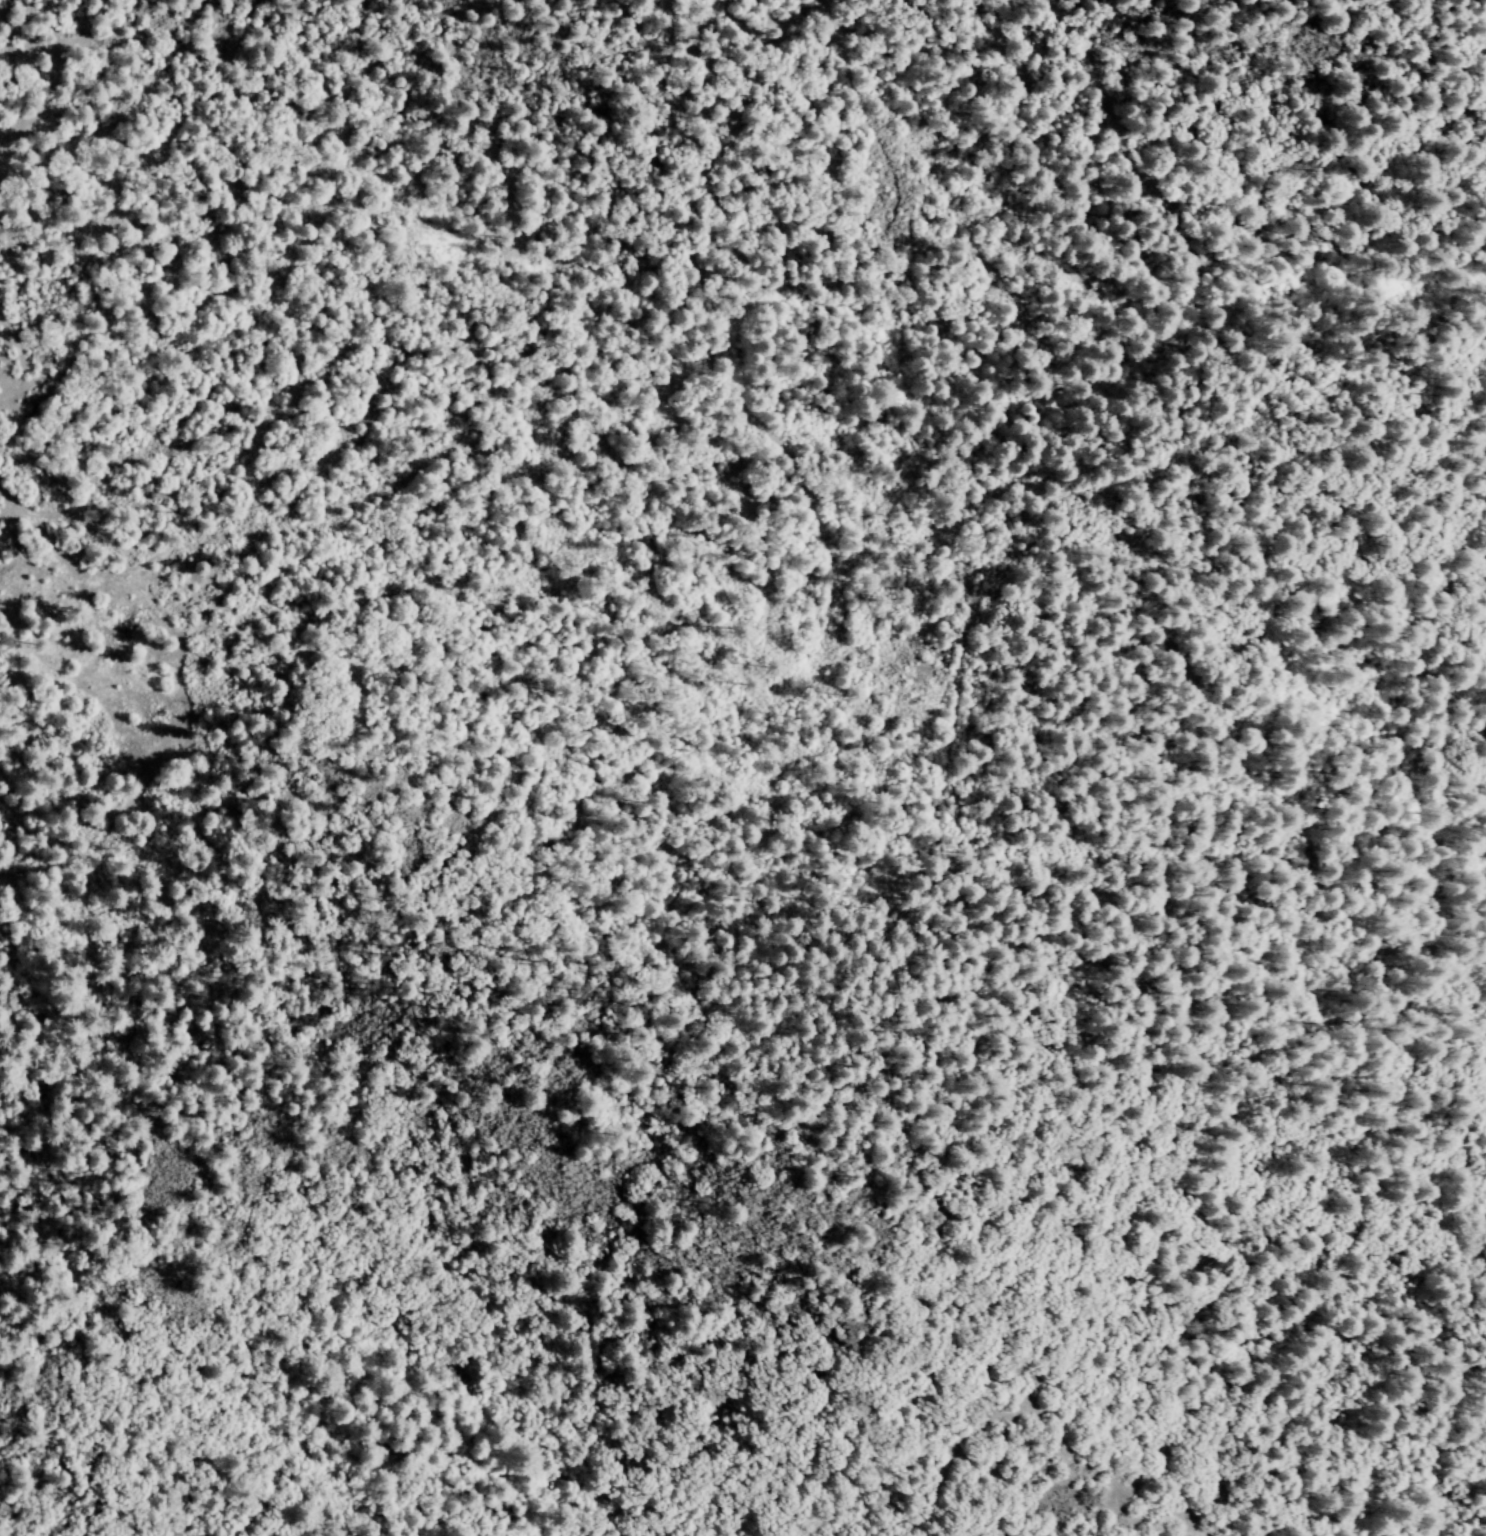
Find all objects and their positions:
road: (7, 49)
road: (149, 700)
park: (863, 1239)

